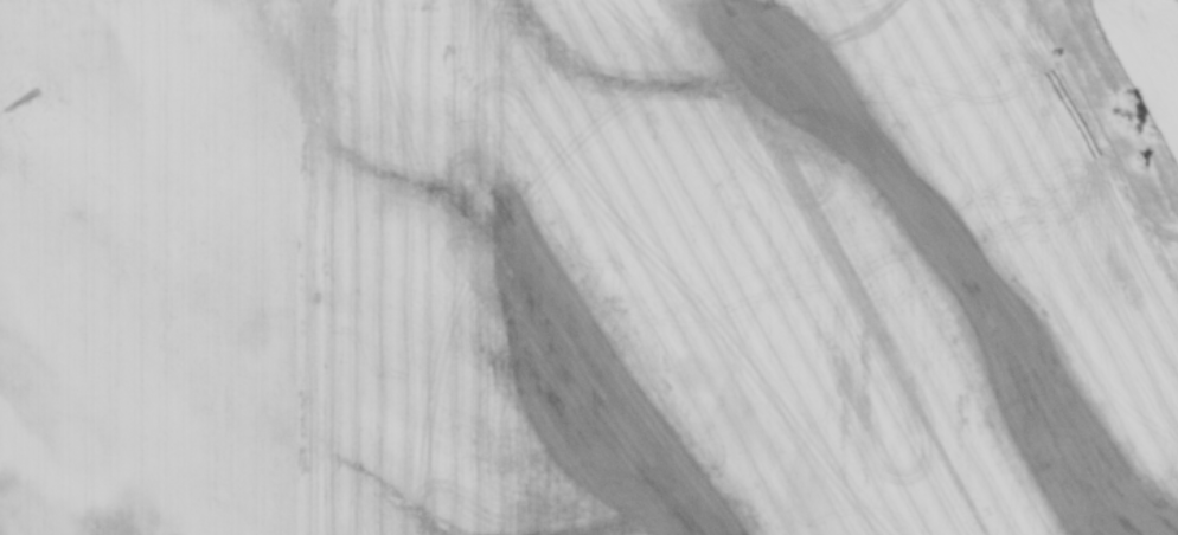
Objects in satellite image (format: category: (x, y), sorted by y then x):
road: (1106, 124)

